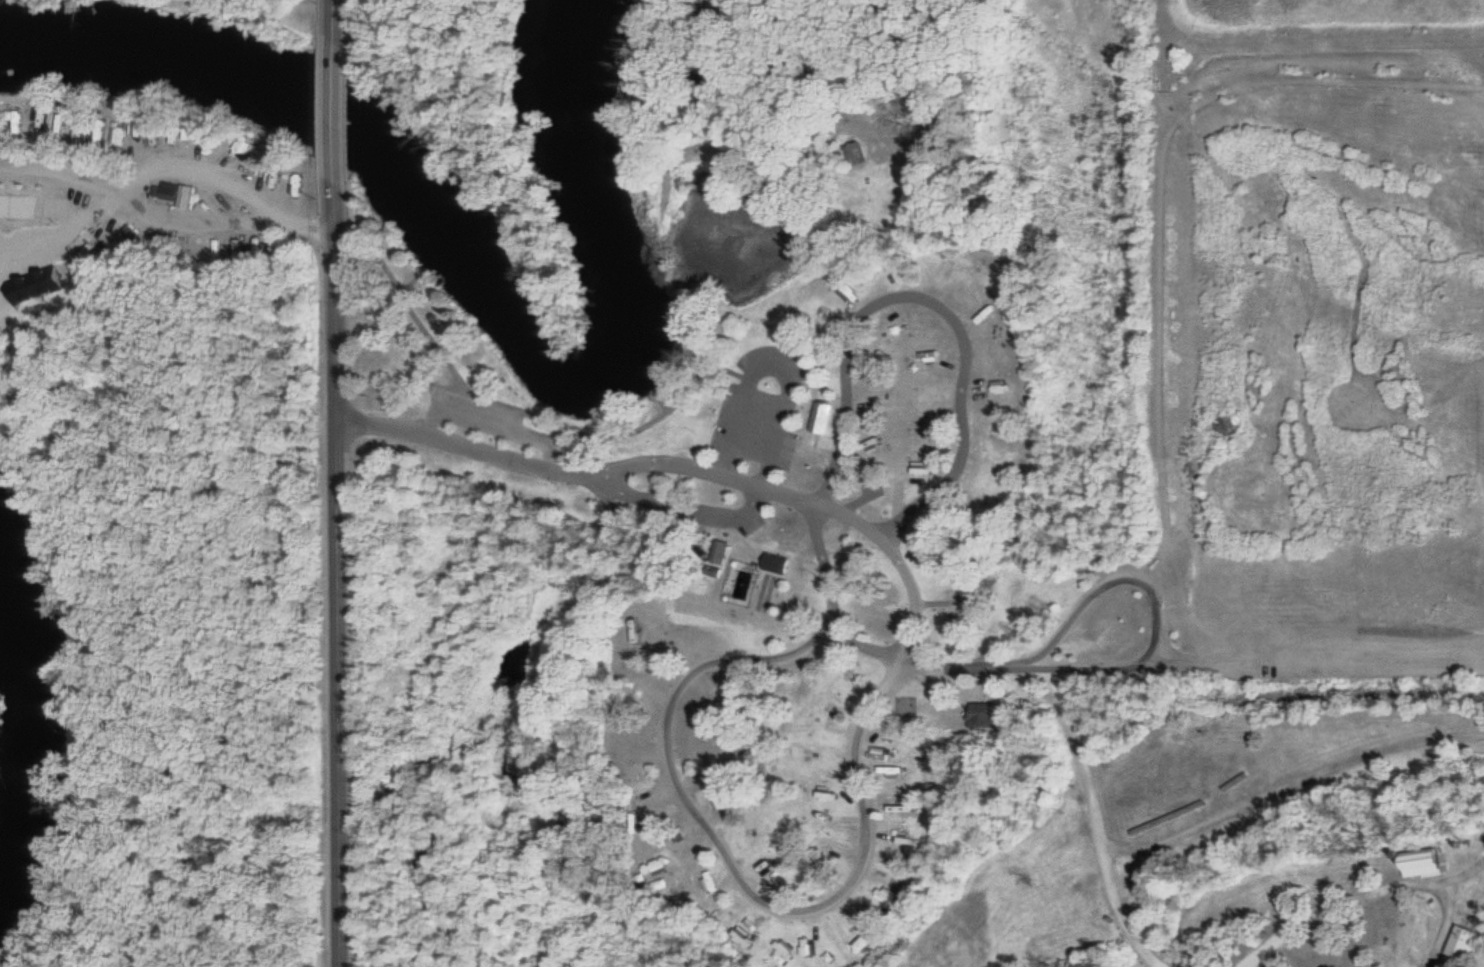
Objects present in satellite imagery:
park: (251, 14)
road: (332, 18)
road: (334, 106)
road: (172, 165)
building: (175, 190)
building: (191, 195)
park: (17, 205)
road: (197, 222)
building: (136, 230)
building: (162, 240)
river: (482, 279)
building: (44, 283)
building: (971, 284)
road: (937, 301)
building: (993, 343)
road: (777, 366)
building: (938, 387)
building: (1012, 401)
parking lot: (766, 404)
parking lot: (479, 412)
building: (827, 414)
road: (493, 421)
building: (873, 452)
building: (929, 471)
road: (773, 488)
building: (882, 491)
park: (939, 503)
road: (682, 505)
building: (723, 550)
building: (781, 562)
road: (334, 570)
road: (1148, 655)
building: (911, 705)
building: (986, 713)
building: (833, 723)
building: (708, 724)
river: (30, 730)
building: (884, 751)
building: (894, 770)
building: (756, 854)
building: (682, 857)
building: (1417, 864)
road: (736, 868)
building: (888, 895)
building: (815, 943)
building: (1461, 944)
building: (786, 945)

